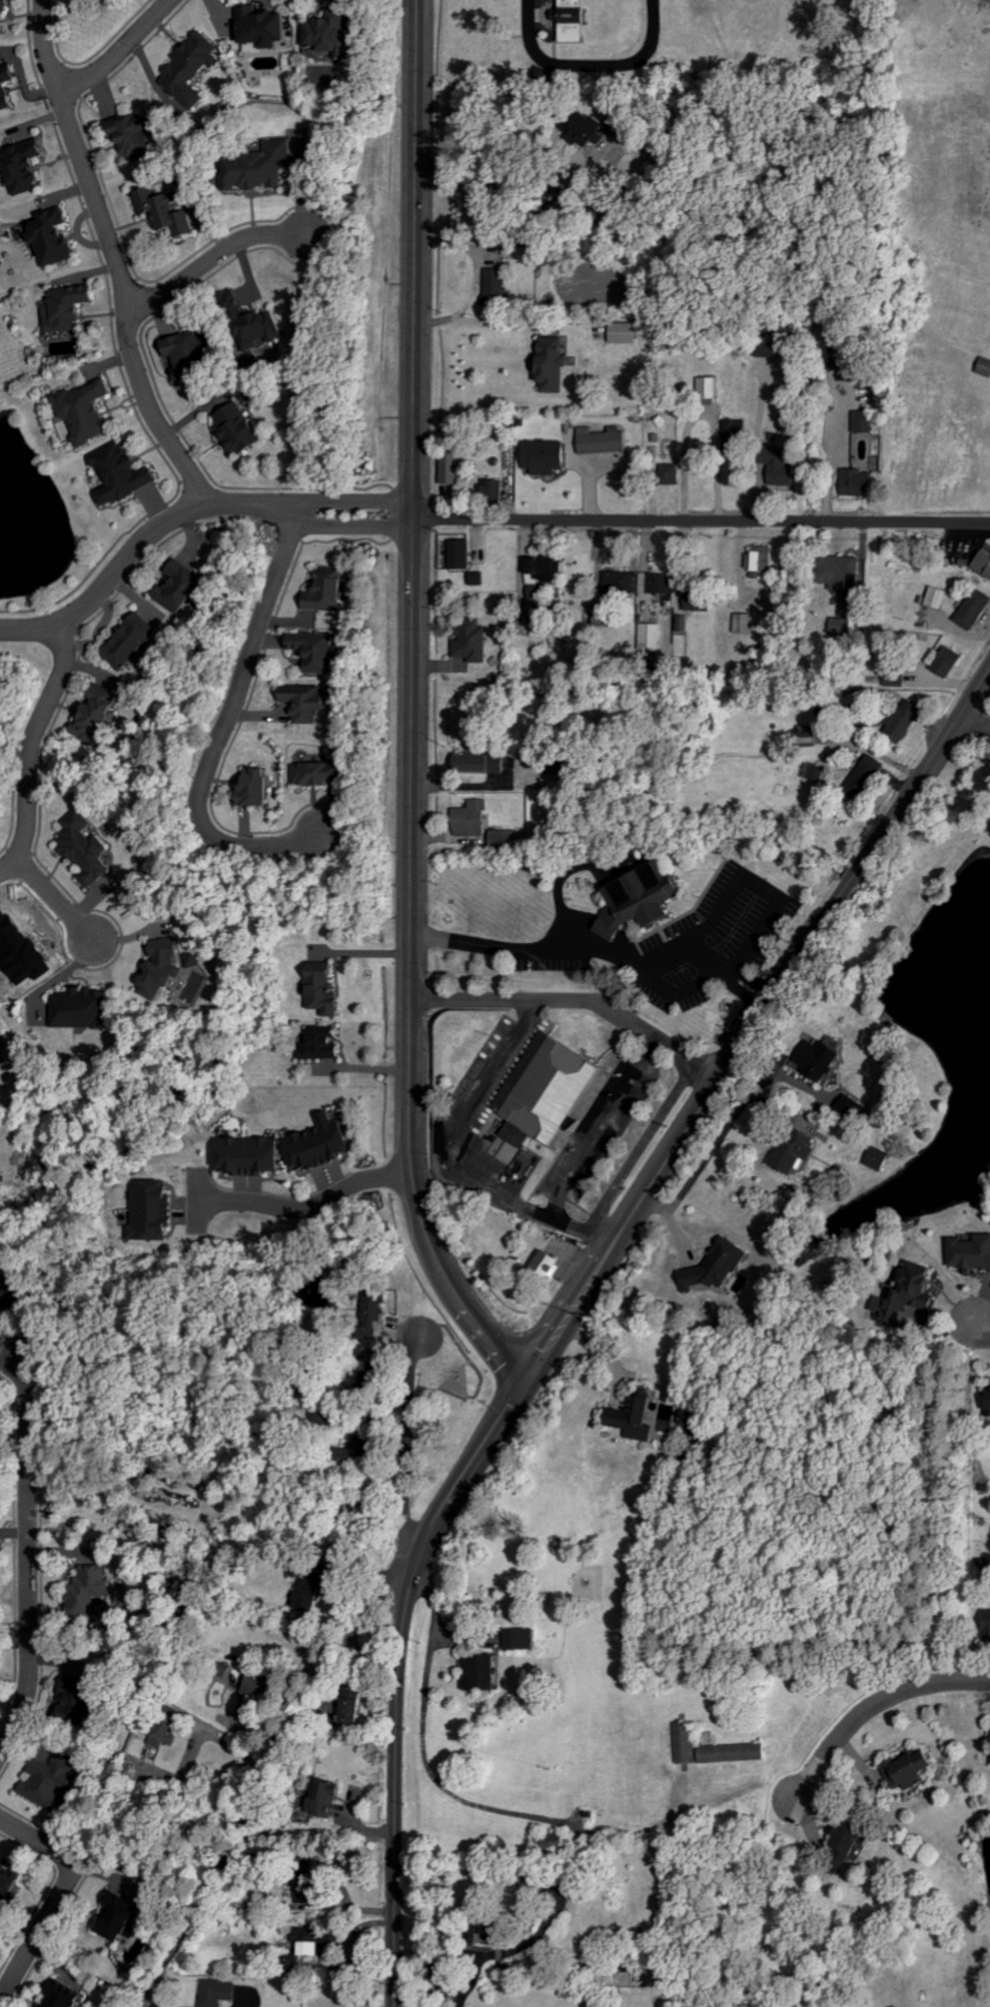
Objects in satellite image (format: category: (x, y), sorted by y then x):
building: (5, 8)
building: (574, 22)
building: (267, 27)
building: (331, 33)
road: (116, 51)
road: (590, 69)
building: (194, 70)
building: (7, 87)
building: (624, 128)
building: (589, 133)
building: (132, 136)
building: (26, 167)
building: (262, 167)
road: (503, 180)
building: (167, 212)
building: (55, 239)
road: (109, 256)
park: (937, 256)
road: (211, 258)
building: (498, 286)
building: (69, 307)
road: (504, 322)
building: (260, 328)
building: (627, 333)
building: (772, 348)
building: (192, 354)
building: (555, 365)
building: (986, 367)
building: (856, 373)
building: (710, 388)
building: (87, 412)
building: (863, 422)
building: (239, 430)
building: (605, 441)
building: (548, 458)
building: (452, 465)
building: (784, 468)
building: (123, 474)
building: (672, 474)
building: (861, 483)
building: (495, 490)
road: (182, 512)
road: (700, 521)
building: (462, 553)
building: (985, 562)
building: (763, 563)
building: (840, 570)
building: (545, 574)
building: (480, 579)
building: (622, 581)
building: (661, 582)
building: (182, 587)
building: (329, 591)
building: (938, 597)
building: (700, 599)
building: (976, 609)
building: (542, 621)
building: (746, 623)
building: (842, 626)
building: (133, 641)
building: (474, 641)
building: (316, 650)
building: (947, 660)
building: (898, 676)
building: (308, 701)
road: (408, 705)
building: (99, 713)
road: (974, 714)
building: (906, 720)
road: (224, 727)
road: (28, 752)
building: (481, 763)
building: (567, 767)
building: (323, 772)
building: (817, 773)
building: (864, 780)
road: (468, 786)
building: (258, 787)
building: (473, 819)
building: (505, 838)
building: (87, 848)
road: (761, 889)
road: (53, 902)
building: (654, 916)
road: (598, 943)
building: (196, 960)
building: (165, 967)
building: (325, 989)
road: (669, 991)
road: (572, 999)
building: (83, 1008)
building: (1, 1039)
building: (323, 1044)
building: (820, 1059)
building: (542, 1085)
building: (856, 1109)
road: (693, 1112)
building: (324, 1144)
road: (637, 1146)
road: (583, 1149)
building: (795, 1152)
building: (253, 1155)
building: (880, 1158)
road: (696, 1174)
road: (303, 1206)
building: (154, 1210)
building: (972, 1254)
building: (550, 1264)
building: (711, 1267)
building: (14, 1291)
building: (910, 1299)
building: (376, 1306)
road: (979, 1325)
road: (466, 1360)
building: (371, 1376)
building: (627, 1416)
road: (405, 1442)
building: (370, 1443)
road: (25, 1555)
building: (0, 1557)
building: (89, 1589)
building: (314, 1592)
building: (989, 1625)
building: (515, 1638)
building: (477, 1671)
building: (262, 1682)
building: (83, 1695)
building: (355, 1704)
building: (345, 1705)
road: (878, 1707)
building: (167, 1728)
road: (196, 1741)
building: (686, 1743)
building: (735, 1753)
building: (910, 1769)
road: (220, 1779)
road: (261, 1780)
building: (49, 1782)
road: (391, 1788)
building: (319, 1798)
building: (850, 1848)
building: (8, 1877)
building: (300, 1880)
building: (533, 1884)
road: (58, 1894)
building: (121, 1918)
building: (485, 1930)
building: (307, 1942)
building: (218, 1992)
building: (66, 1996)

